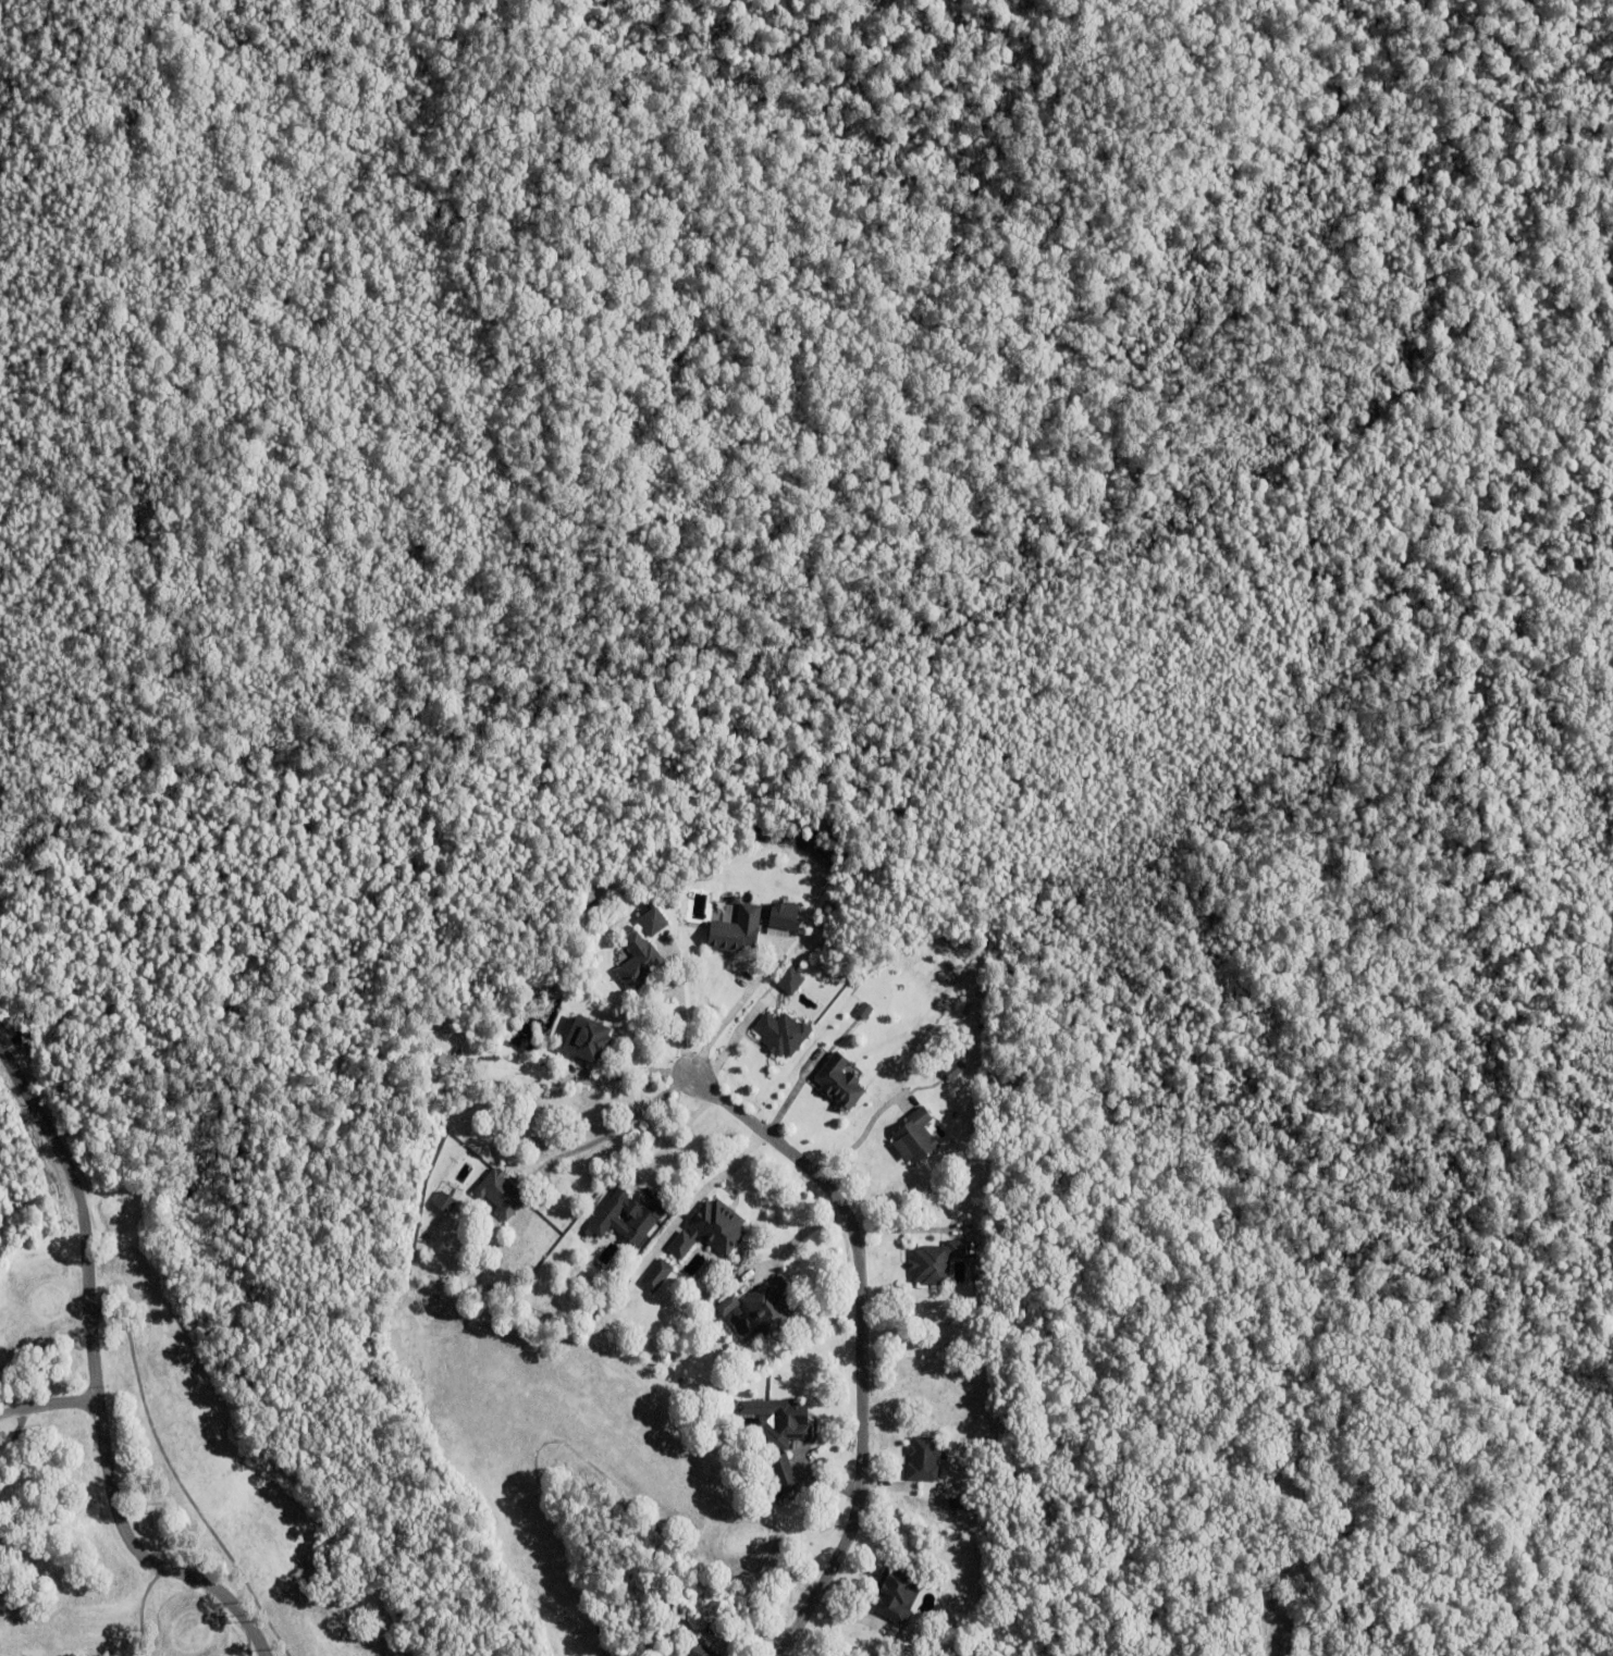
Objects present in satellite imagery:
building: (779, 916)
building: (647, 923)
building: (668, 927)
building: (736, 934)
building: (639, 965)
building: (788, 980)
building: (864, 1013)
building: (781, 1037)
building: (588, 1042)
road: (730, 1042)
building: (952, 1074)
building: (839, 1086)
road: (610, 1136)
road: (669, 1140)
building: (915, 1140)
road: (699, 1195)
building: (500, 1197)
building: (444, 1206)
building: (625, 1218)
building: (711, 1233)
building: (936, 1264)
building: (654, 1275)
building: (727, 1308)
building: (768, 1308)
road: (854, 1343)
road: (95, 1382)
road: (48, 1411)
building: (778, 1422)
park: (318, 1448)
building: (924, 1462)
building: (1279, 1469)
building: (779, 1478)
building: (956, 1506)
building: (162, 1544)
building: (897, 1596)
building: (1286, 1636)
building: (700, 1652)
building: (981, 1653)

